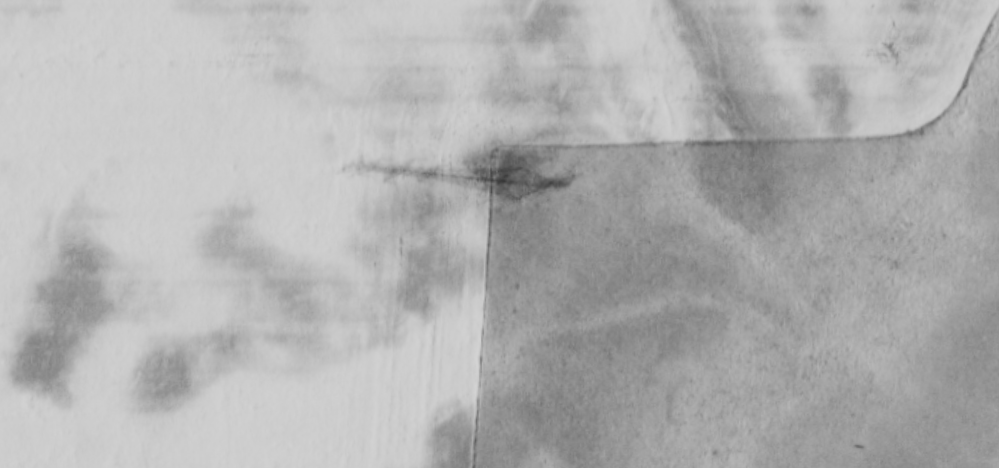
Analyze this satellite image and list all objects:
power tower: (511, 182)

